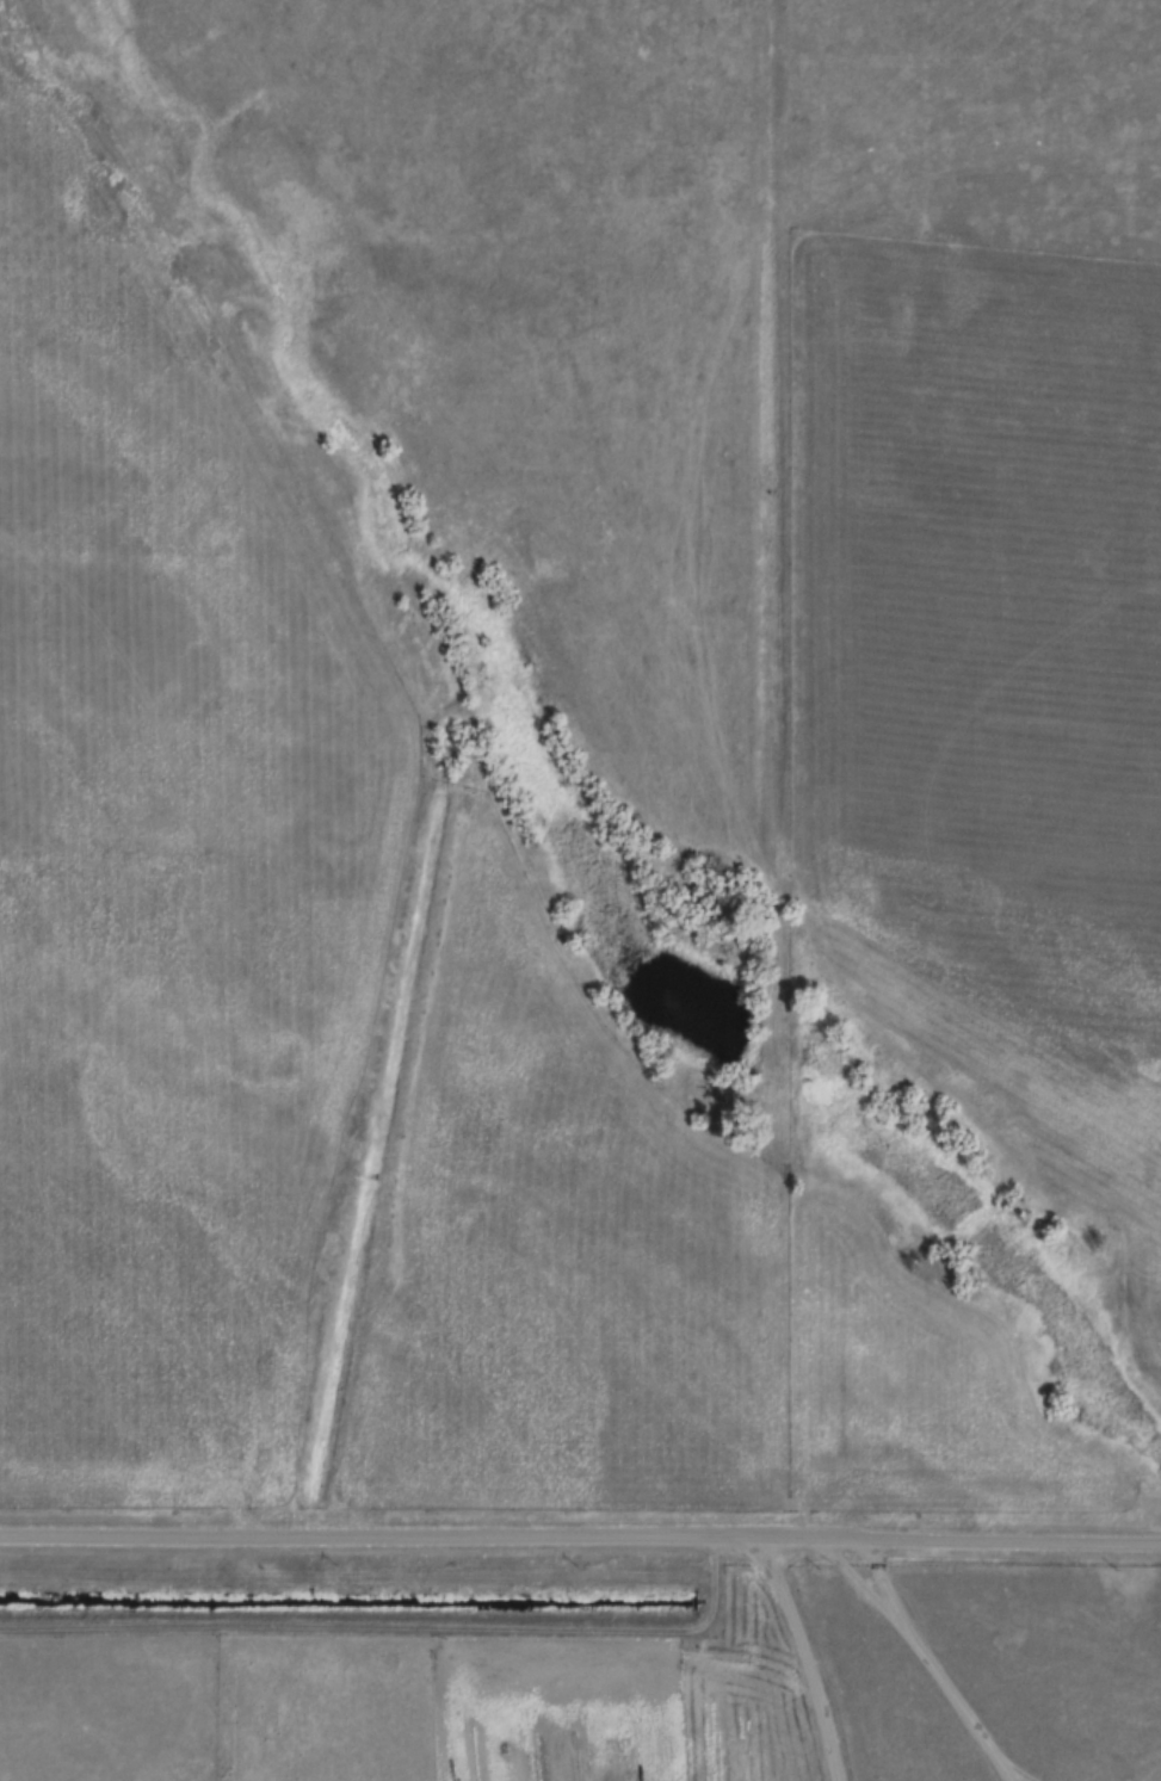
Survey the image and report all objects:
road: (580, 1544)
road: (851, 1668)

